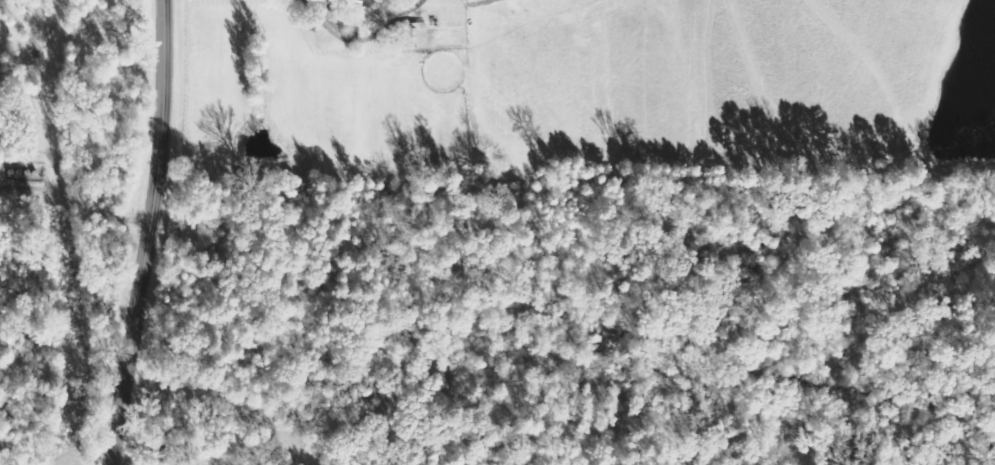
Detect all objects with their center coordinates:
building: (357, 13)
building: (411, 33)
road: (360, 41)
road: (79, 106)
road: (142, 233)

